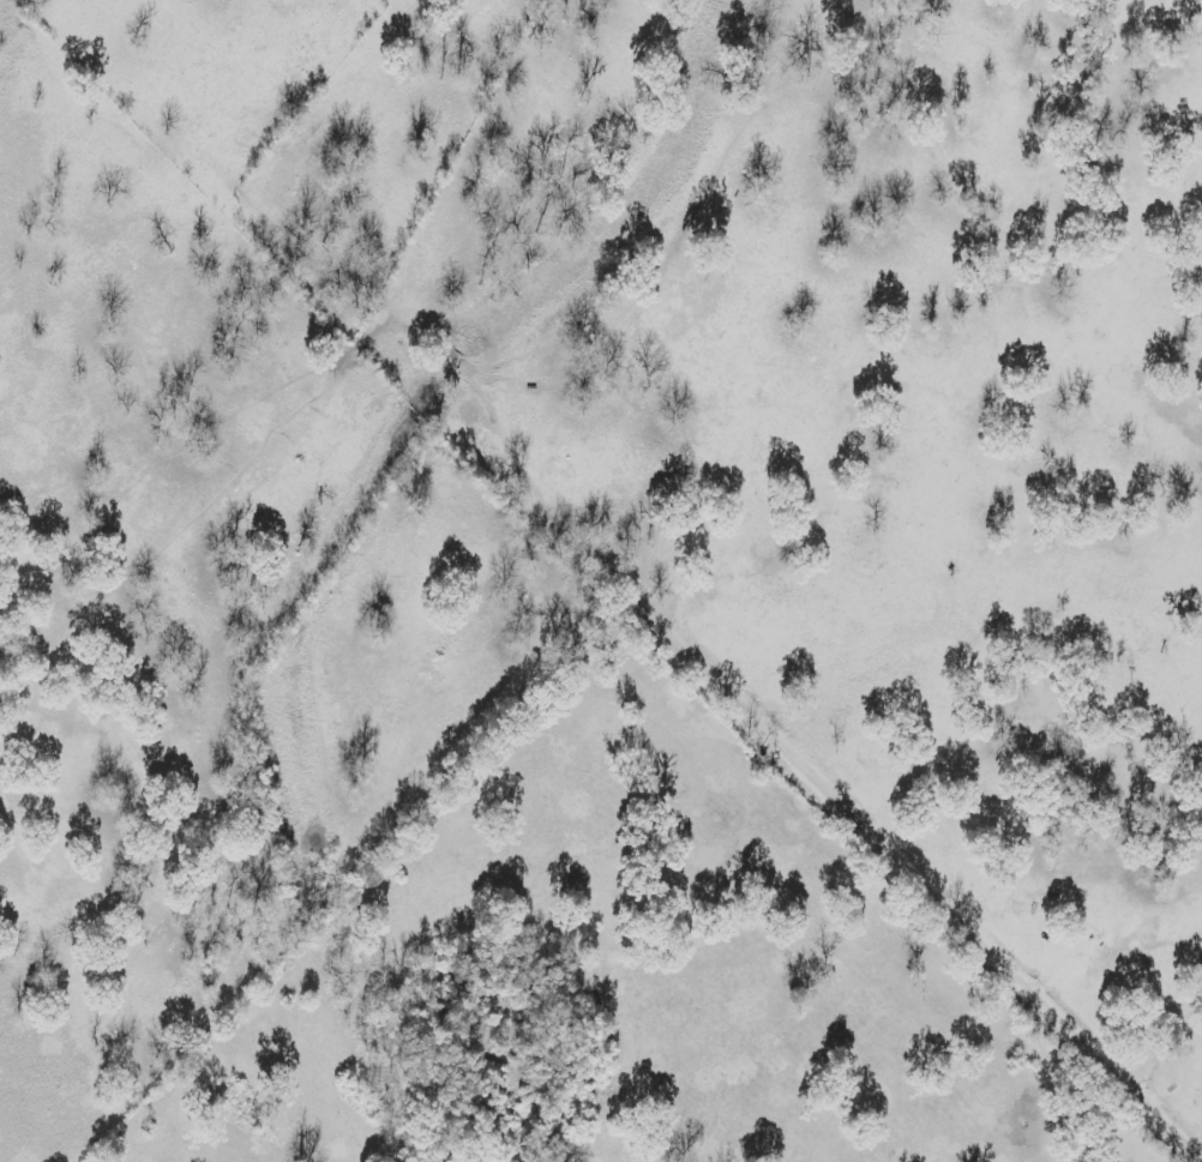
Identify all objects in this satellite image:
road: (906, 869)

